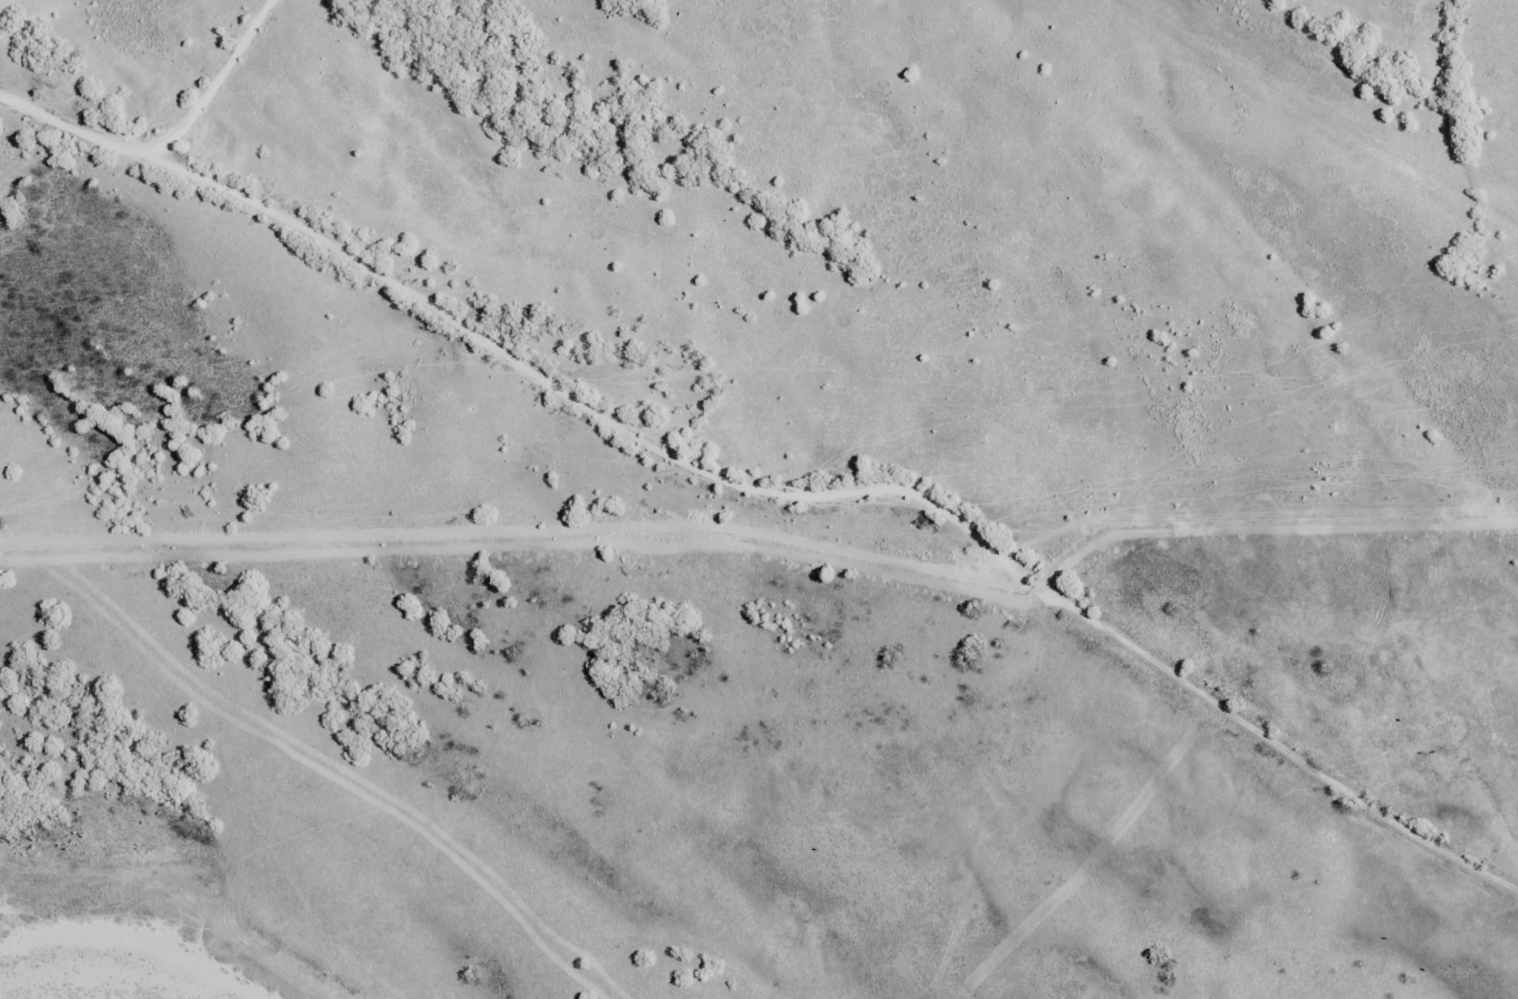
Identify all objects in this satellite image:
road: (778, 465)

